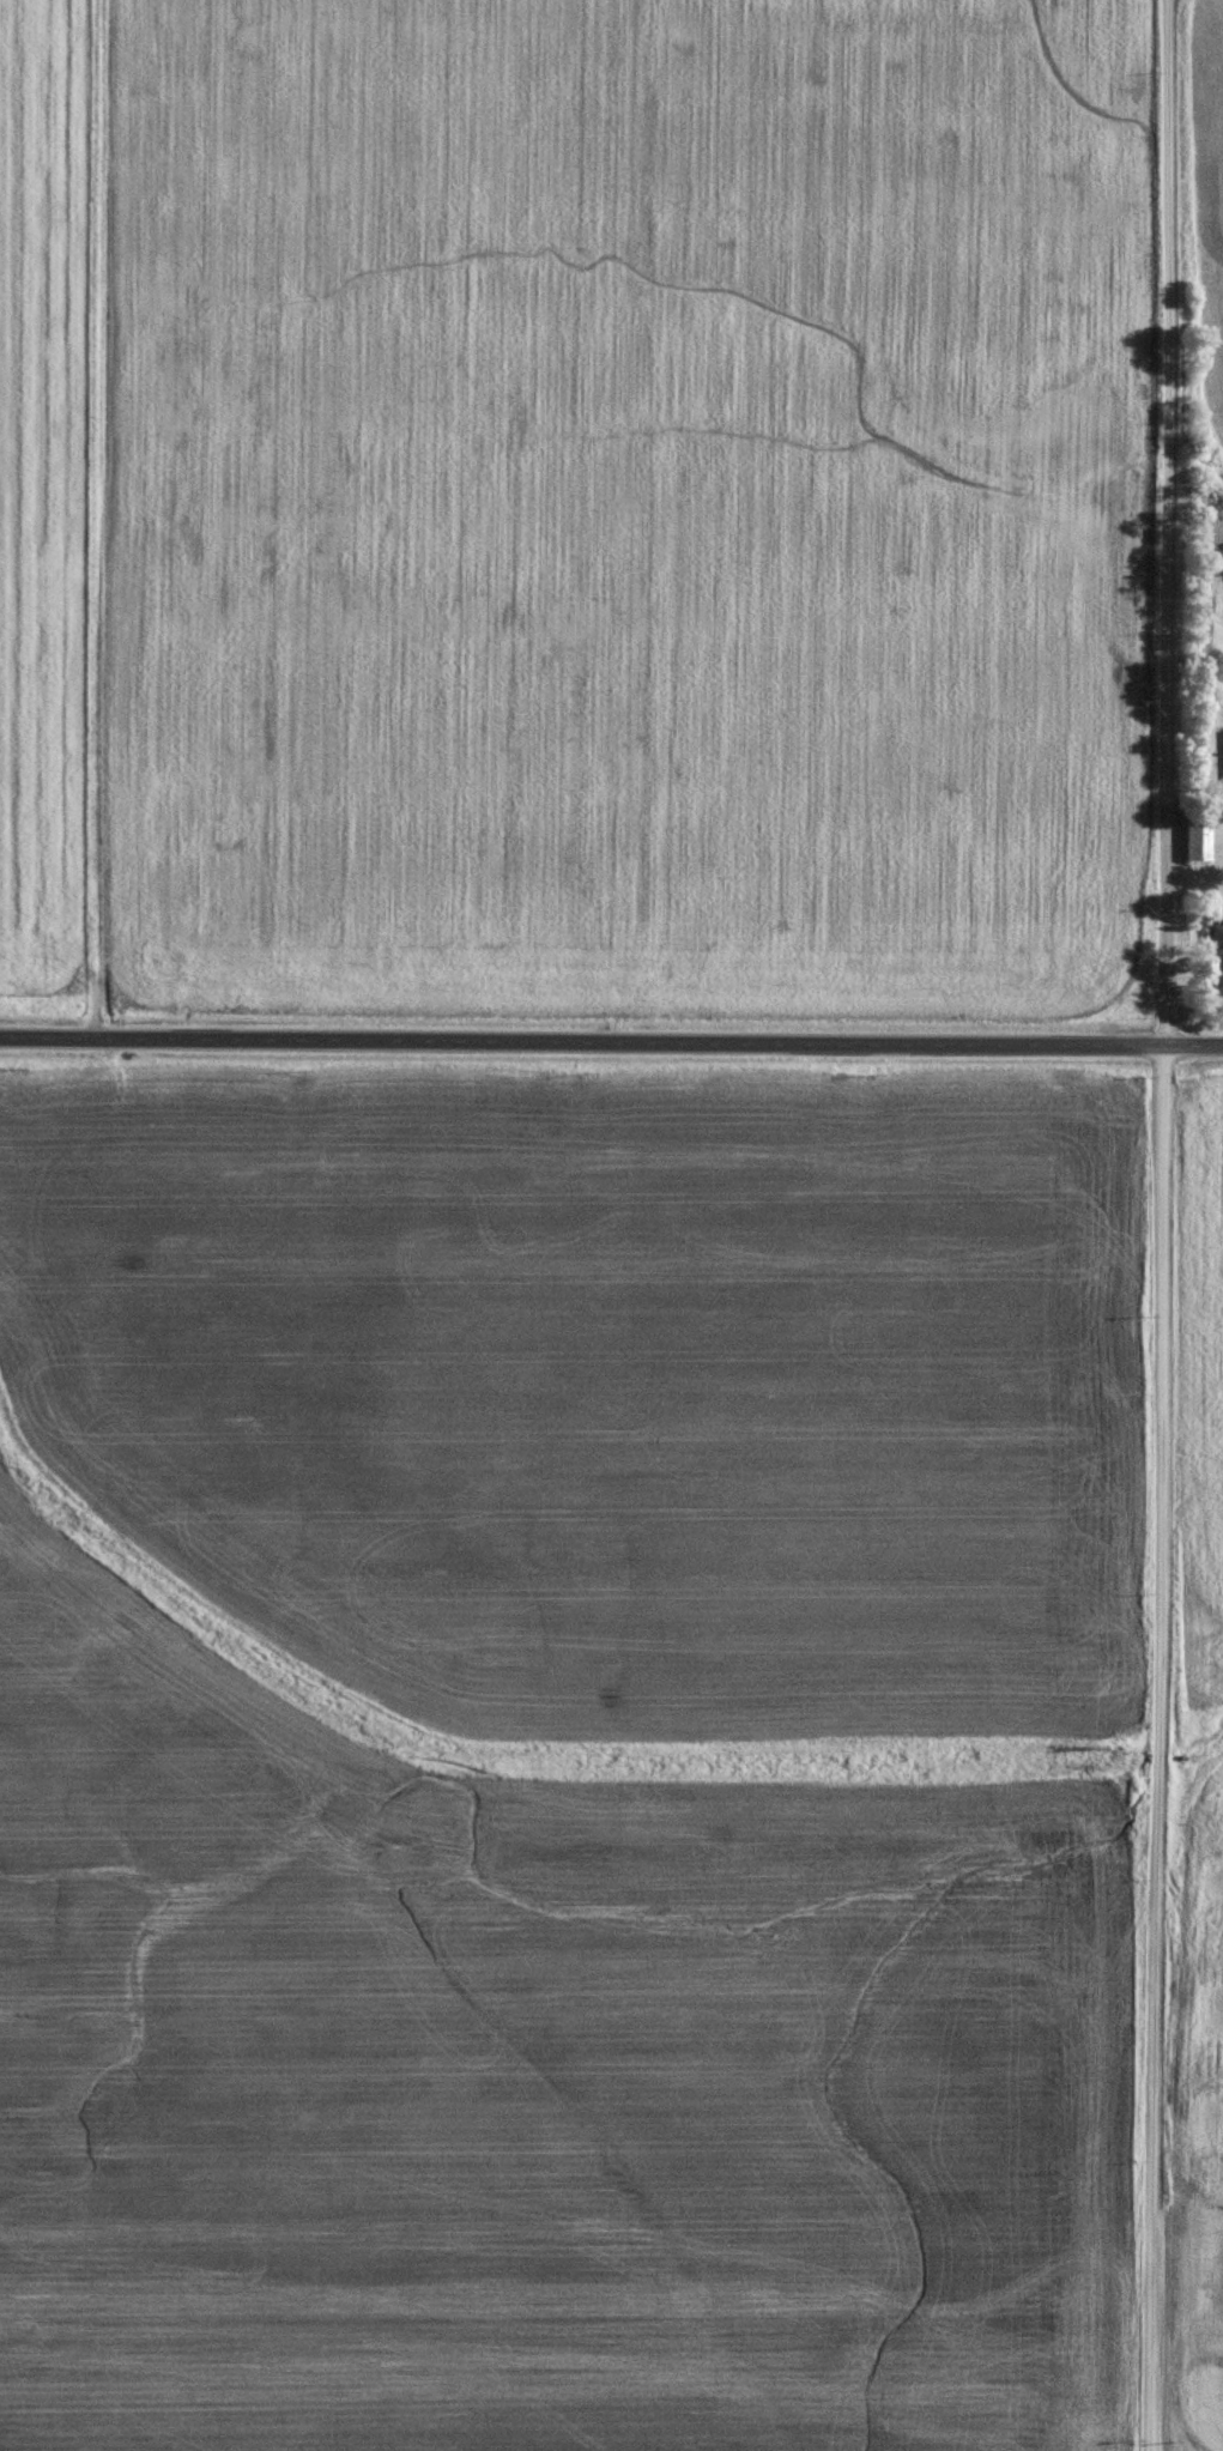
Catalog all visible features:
road: (1167, 521)
building: (1197, 836)
building: (1216, 939)
road: (611, 1039)
road: (1158, 1745)

